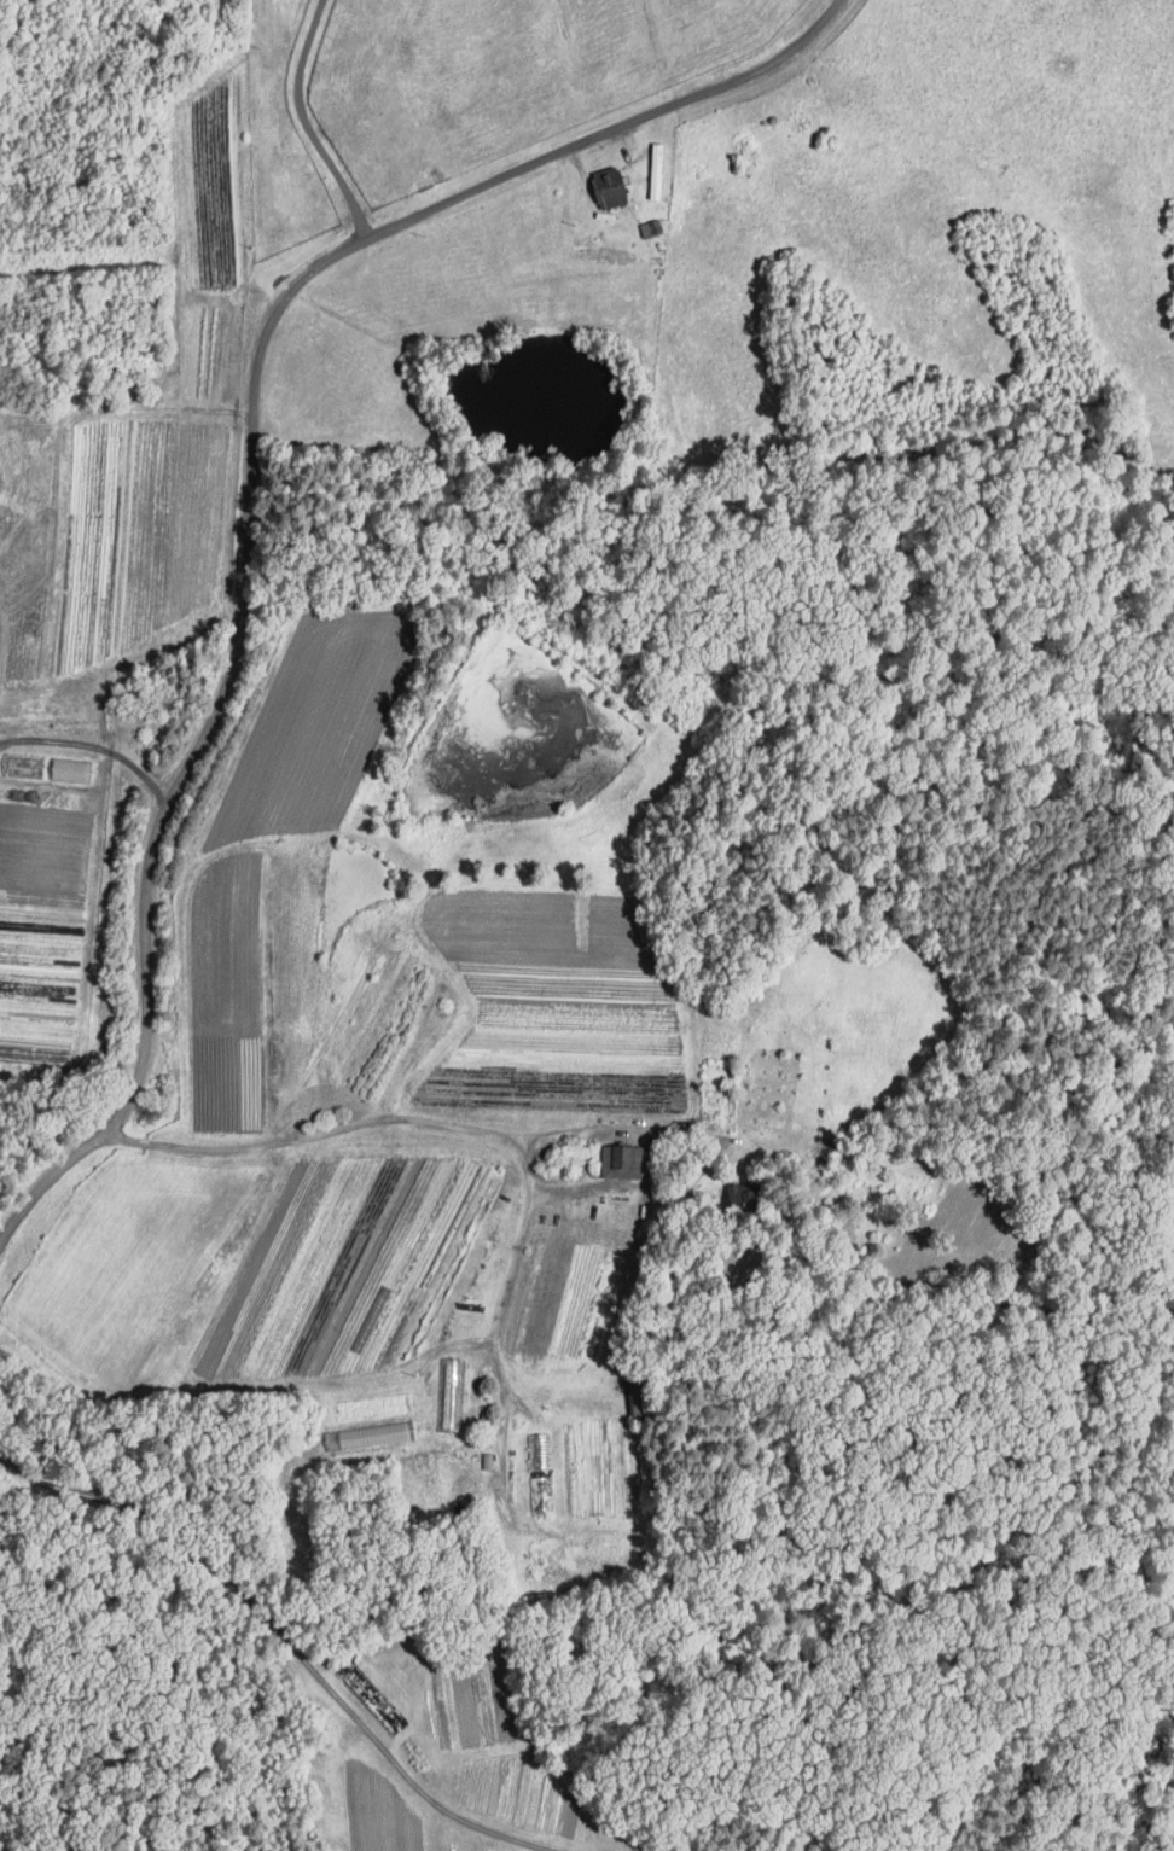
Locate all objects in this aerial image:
road: (308, 123)
building: (658, 170)
building: (612, 186)
road: (251, 484)
road: (95, 750)
building: (19, 761)
building: (69, 766)
road: (707, 1154)
building: (624, 1159)
road: (529, 1187)
building: (453, 1393)
building: (640, 1398)
building: (376, 1407)
building: (372, 1434)
building: (540, 1450)
building: (542, 1492)
road: (289, 1641)
road: (638, 1850)

